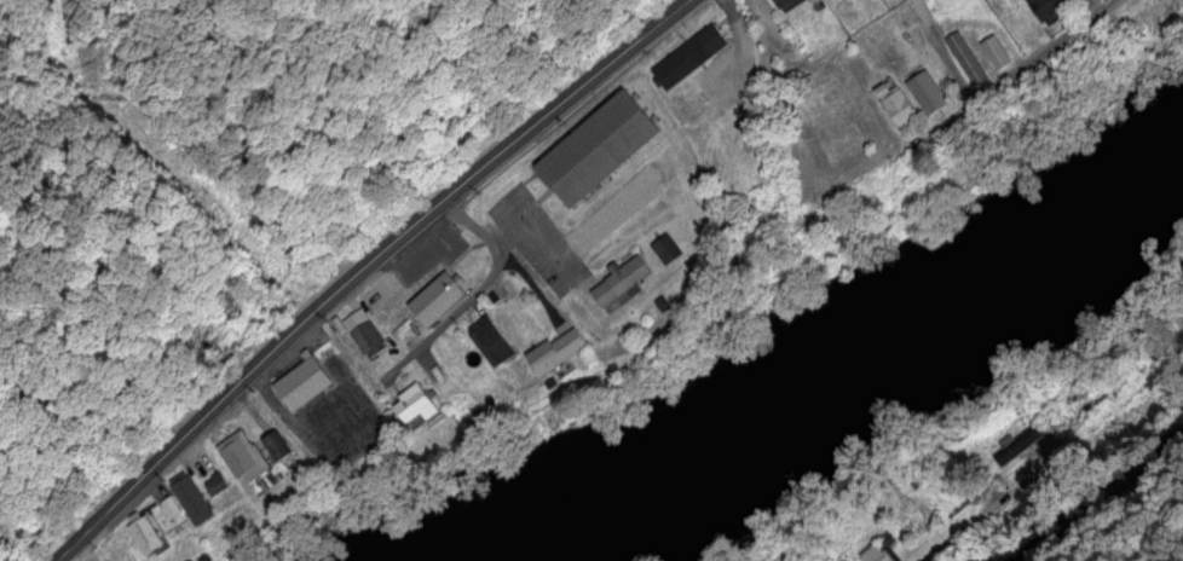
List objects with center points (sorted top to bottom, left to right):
building: (785, 4)
building: (1048, 8)
building: (1132, 12)
road: (940, 51)
building: (994, 51)
building: (688, 54)
building: (965, 57)
road: (774, 68)
road: (1015, 68)
building: (925, 91)
building: (894, 102)
building: (596, 146)
building: (664, 248)
road: (363, 270)
building: (621, 279)
road: (473, 290)
building: (437, 296)
building: (362, 330)
building: (490, 340)
building: (555, 349)
river: (809, 353)
building: (302, 382)
building: (414, 403)
building: (1018, 443)
building: (276, 444)
building: (242, 455)
road: (1054, 455)
building: (215, 482)
road: (1100, 493)
building: (190, 497)
building: (169, 504)
building: (145, 534)
building: (885, 540)
building: (878, 554)

